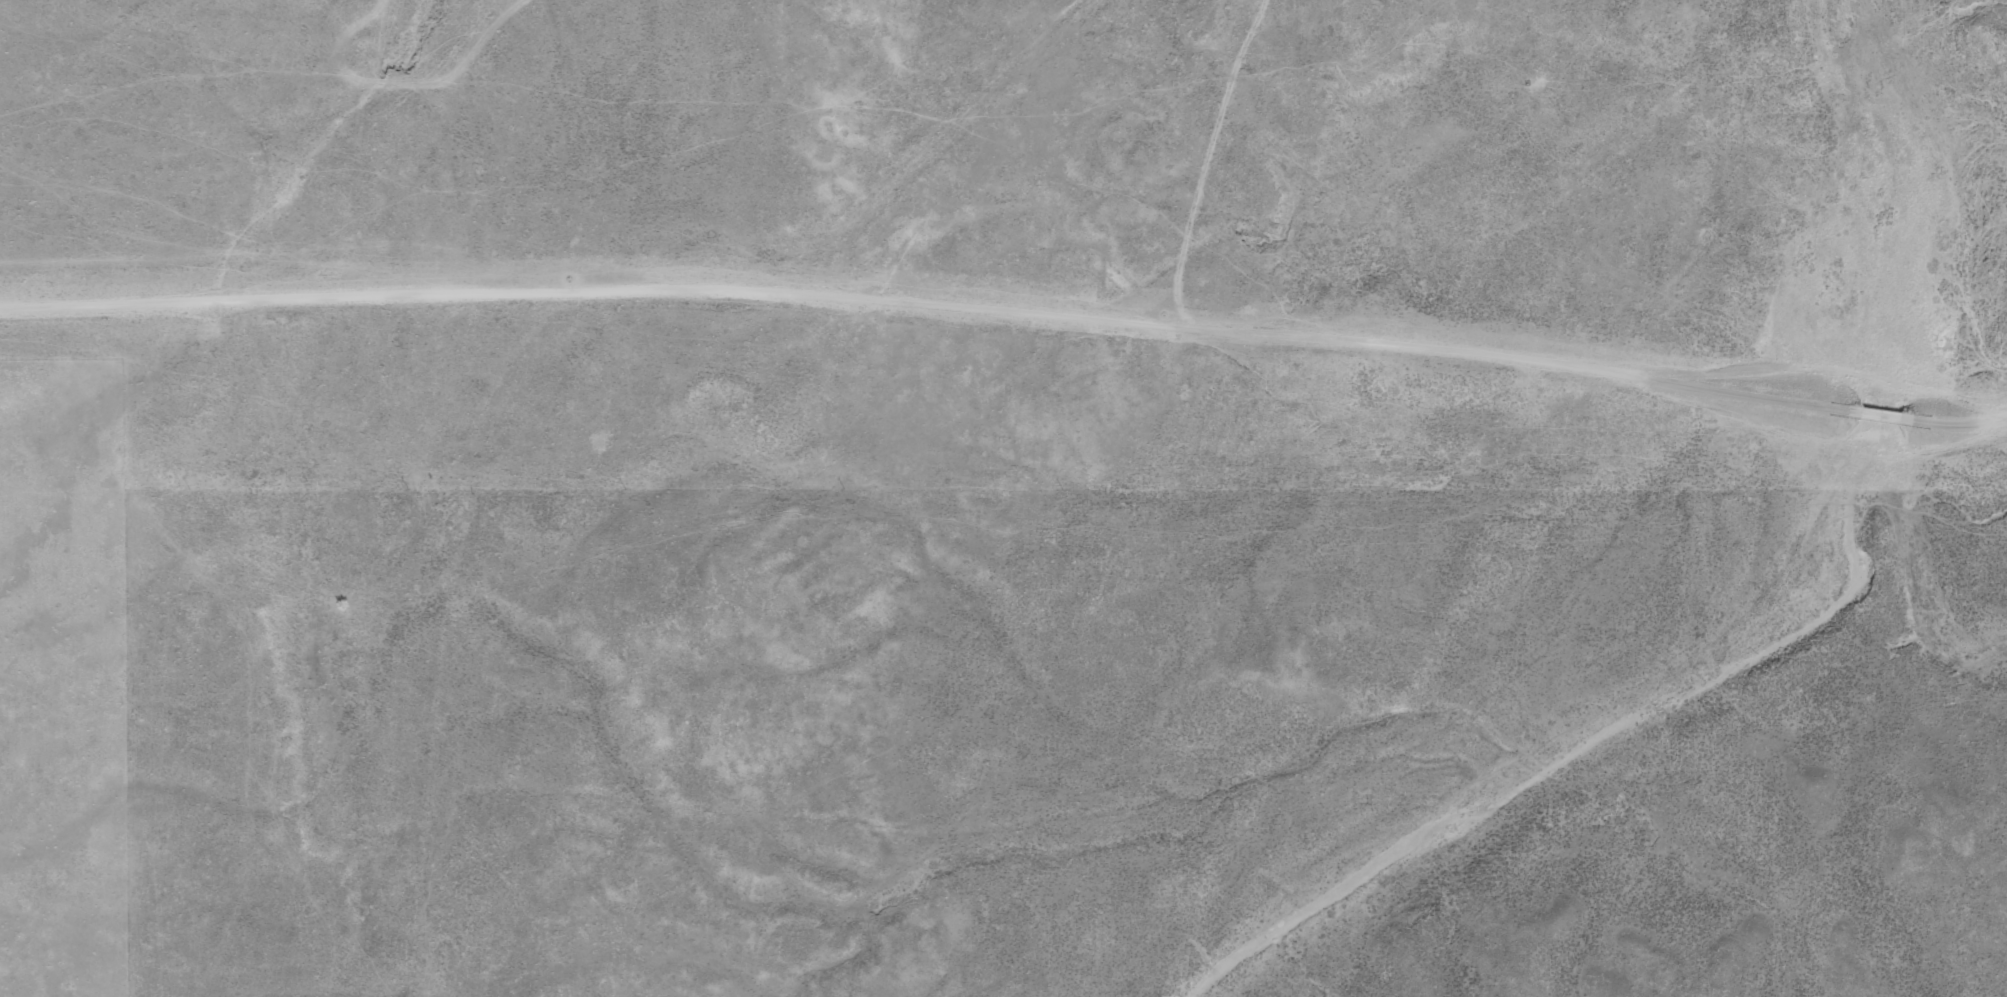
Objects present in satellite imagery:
road: (1005, 328)

